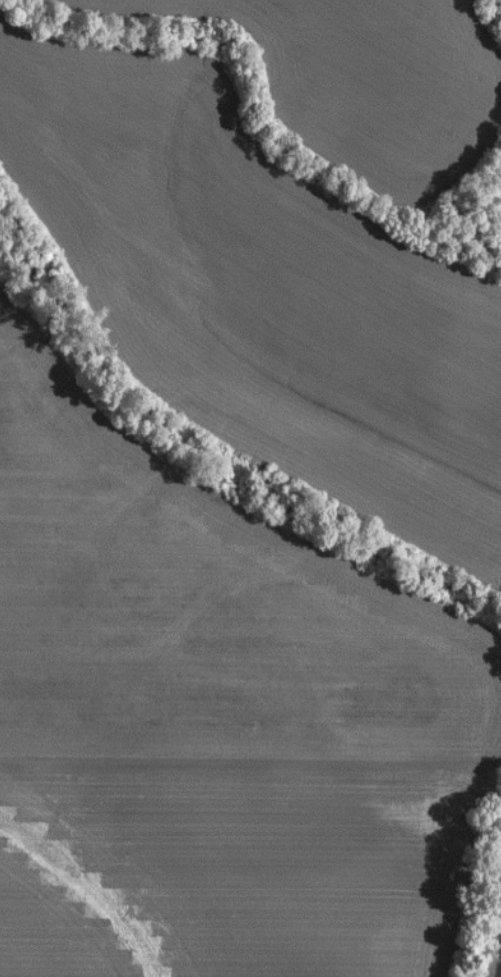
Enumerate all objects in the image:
railway: (499, 964)

